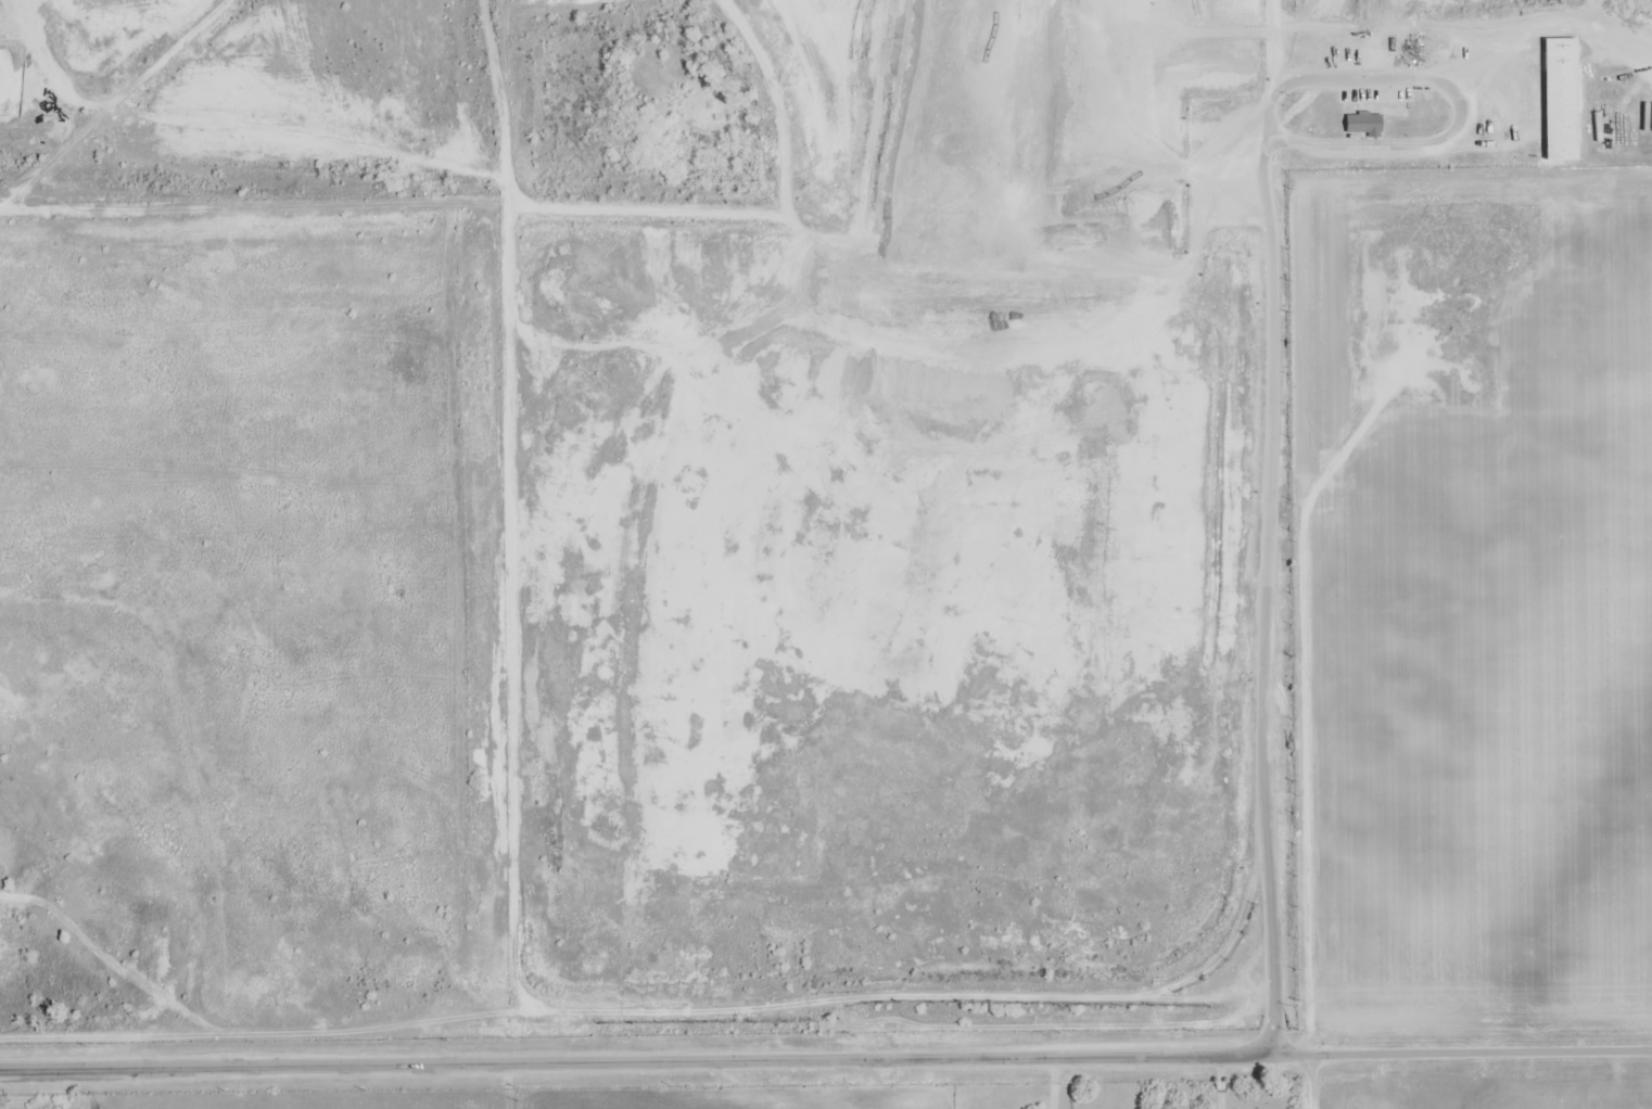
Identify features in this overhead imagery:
building: (1558, 99)
road: (1272, 368)
building: (402, 967)
road: (826, 1059)
road: (1308, 1083)

